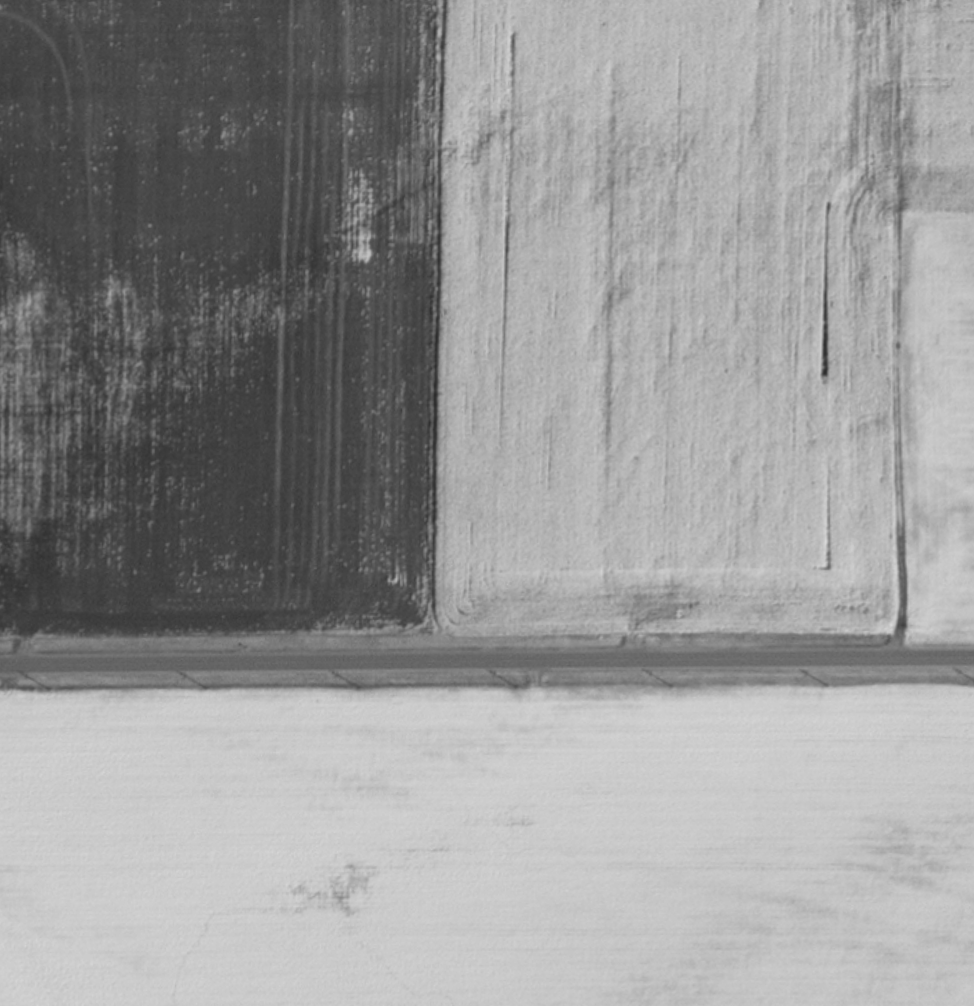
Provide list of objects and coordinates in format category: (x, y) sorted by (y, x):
road: (486, 660)

